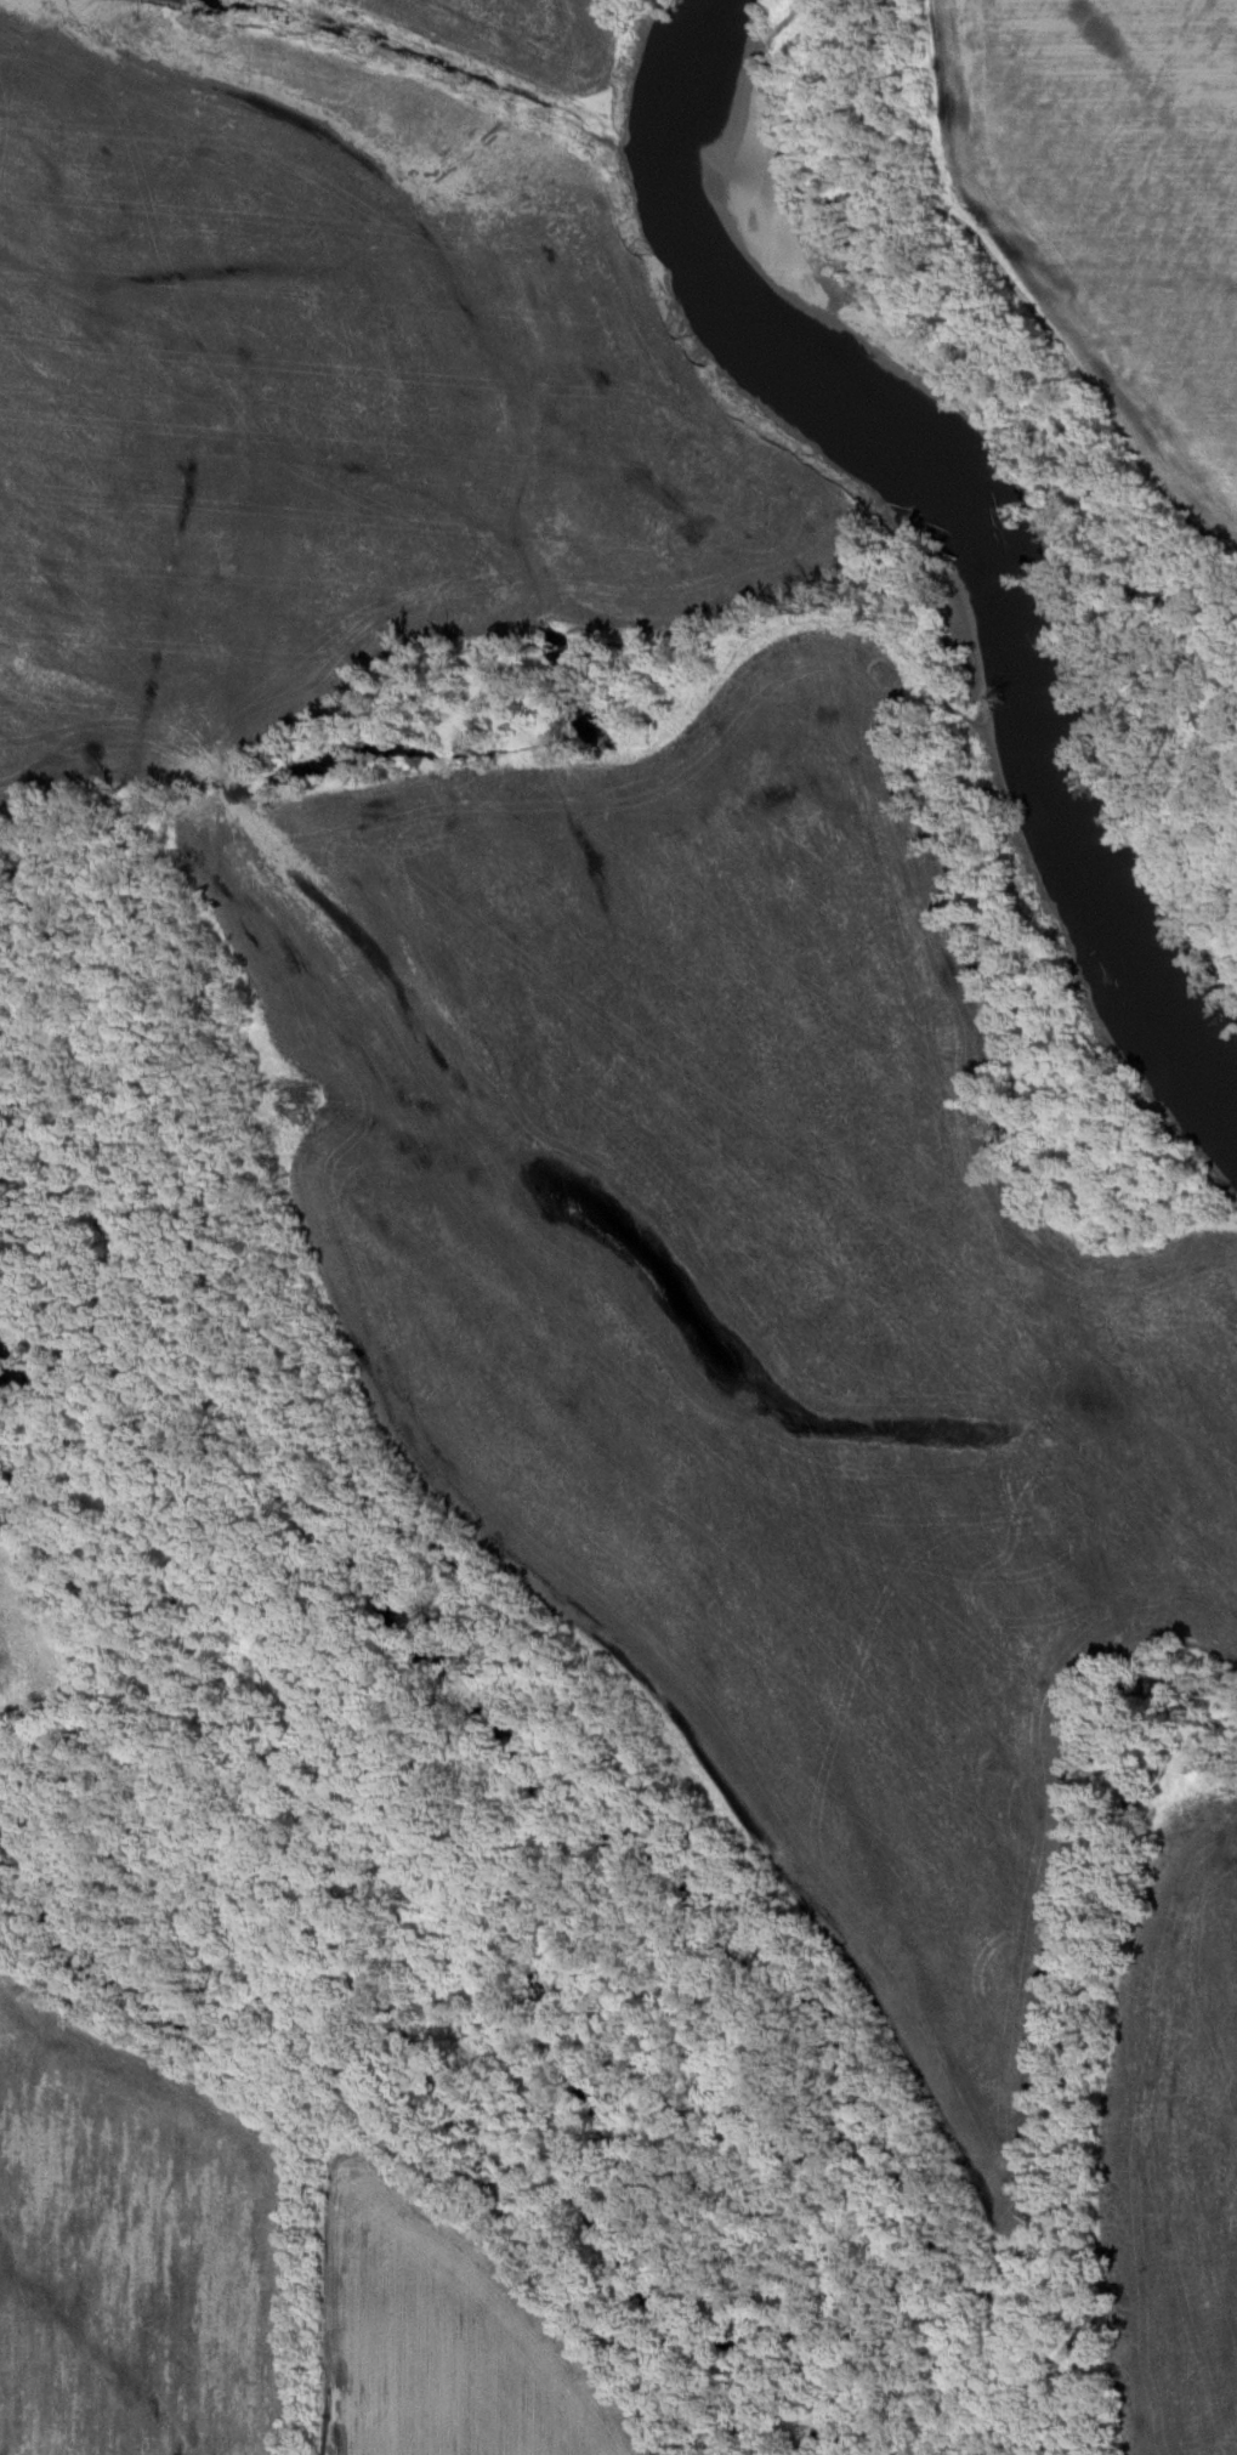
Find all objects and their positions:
river: (942, 544)

